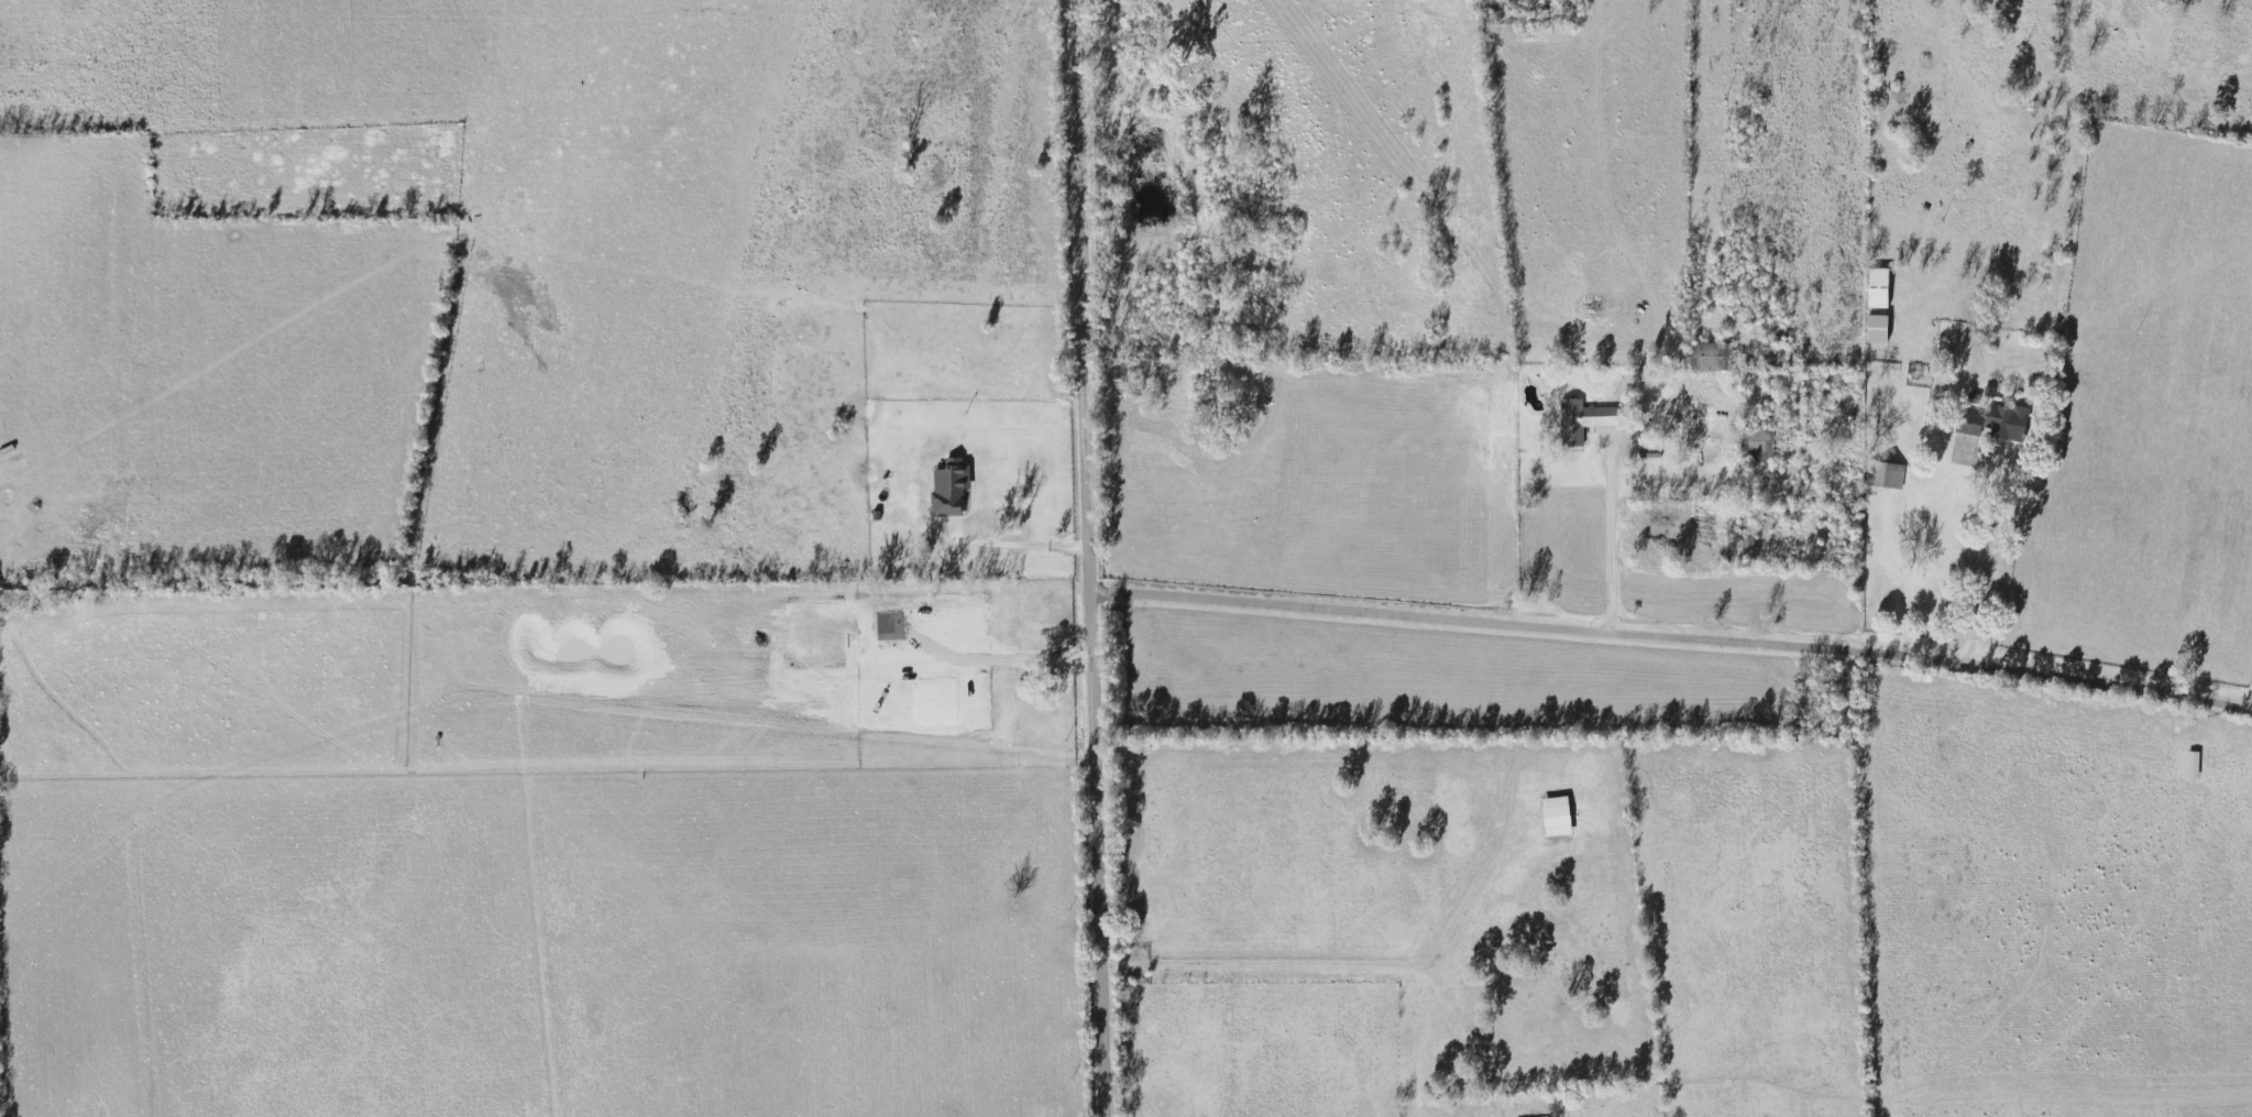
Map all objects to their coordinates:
building: (1878, 286)
building: (1877, 327)
building: (1706, 355)
building: (1586, 419)
building: (1995, 421)
building: (1757, 443)
building: (1885, 474)
road: (1610, 535)
road: (1013, 547)
road: (1986, 548)
road: (1089, 558)
road: (1672, 633)
building: (2193, 764)
building: (1557, 815)

